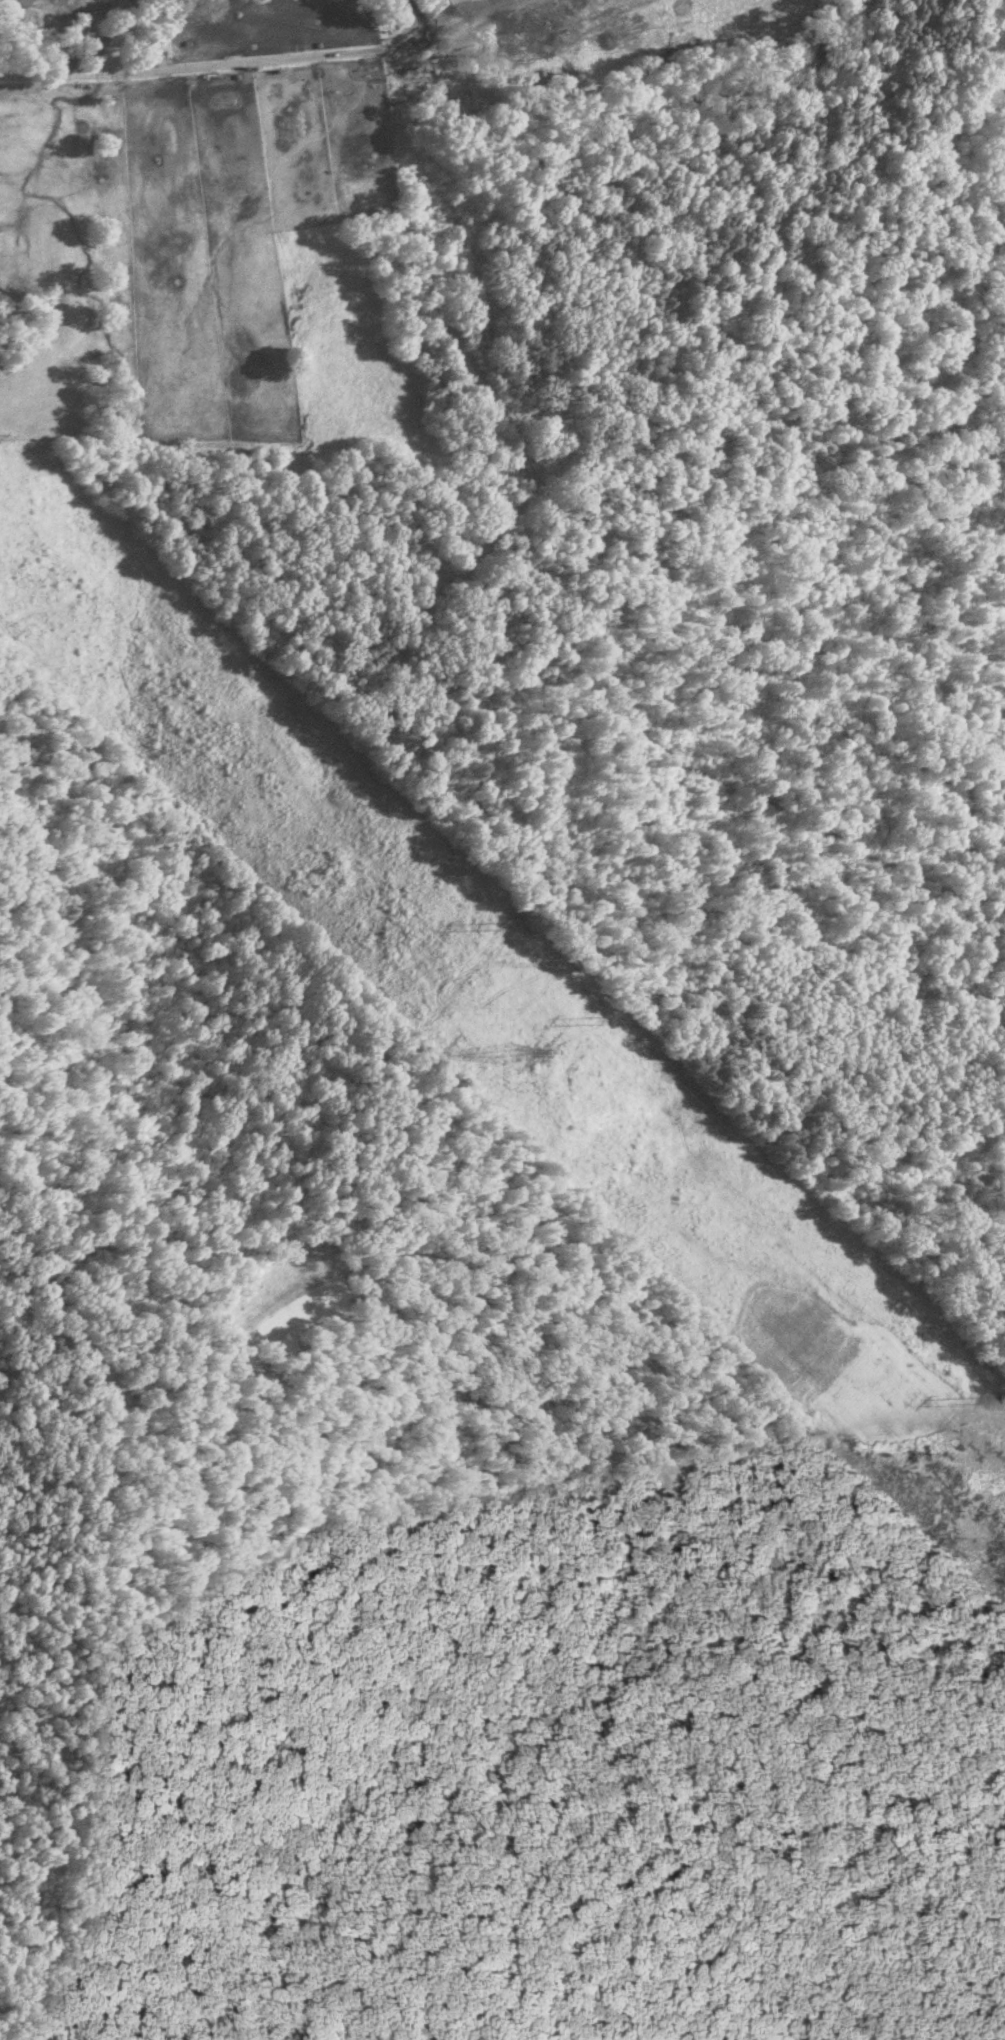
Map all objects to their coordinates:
building: (1004, 62)
building: (1001, 104)
power tower: (498, 1051)

